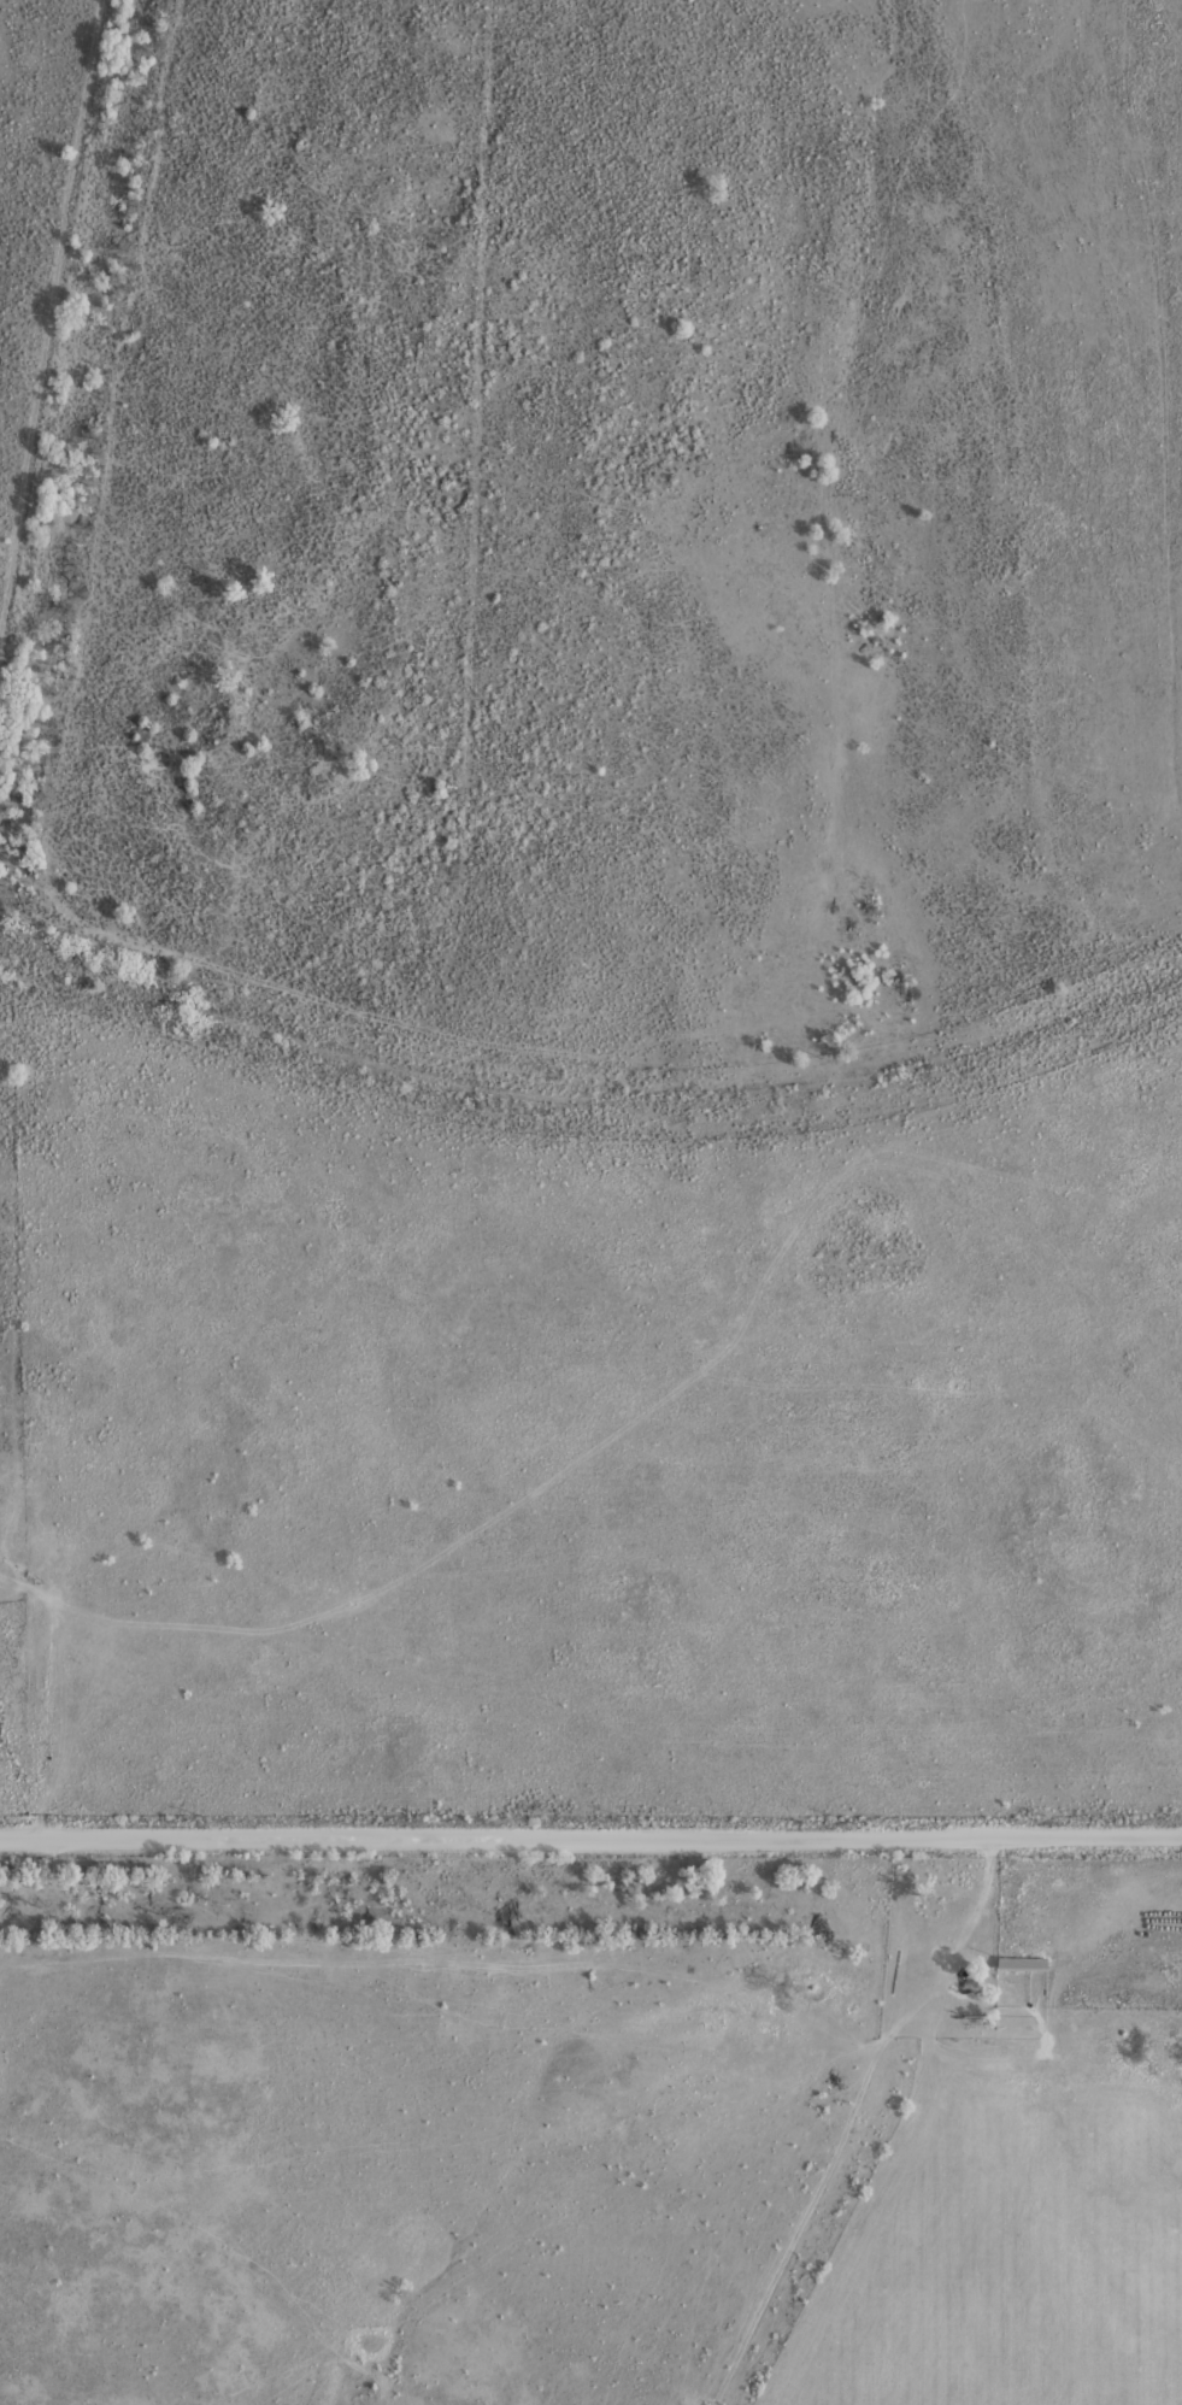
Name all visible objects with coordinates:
road: (590, 1835)
building: (1028, 1963)

